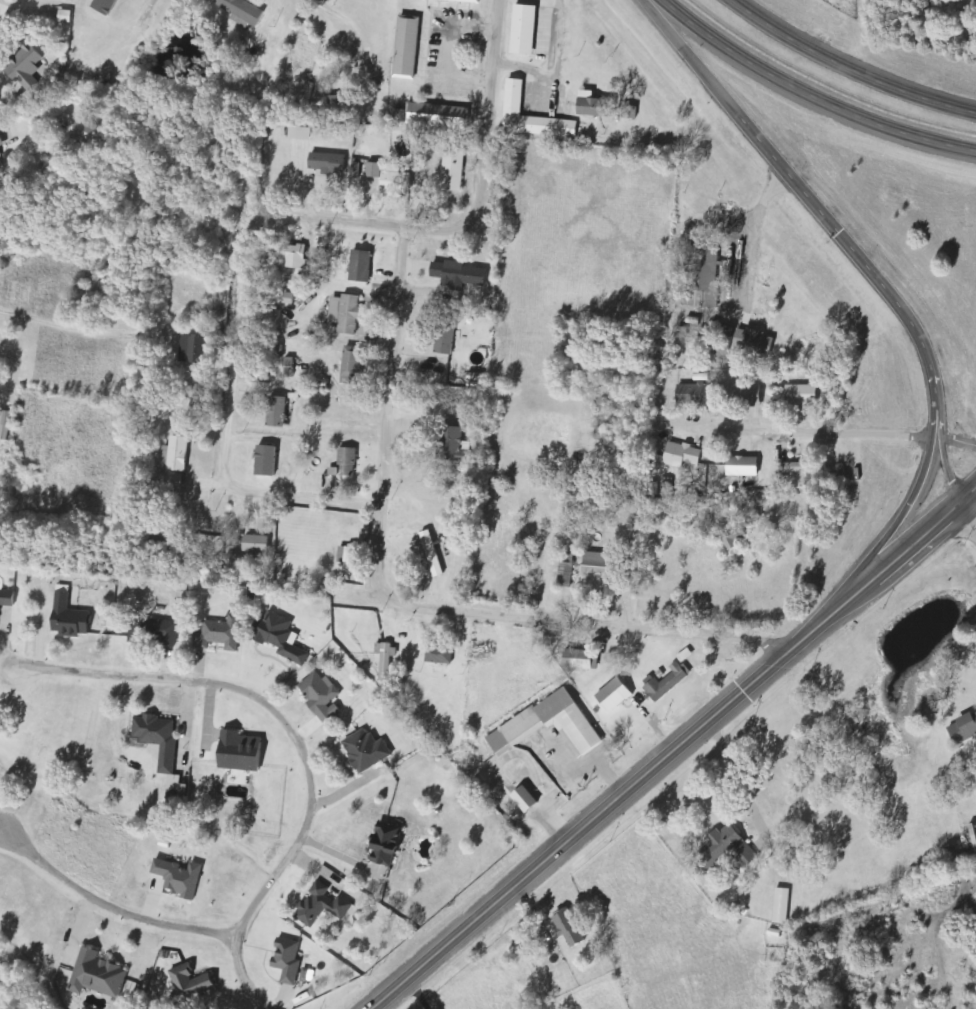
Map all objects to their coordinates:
building: (469, 1)
building: (241, 12)
building: (527, 30)
building: (408, 47)
road: (556, 63)
building: (25, 67)
road: (845, 72)
building: (516, 99)
road: (805, 101)
road: (489, 106)
building: (594, 107)
building: (629, 112)
building: (432, 116)
road: (16, 124)
building: (83, 132)
building: (299, 134)
building: (1, 143)
building: (327, 164)
building: (453, 171)
building: (388, 179)
road: (366, 225)
road: (841, 234)
building: (294, 257)
building: (360, 266)
building: (705, 273)
building: (458, 275)
building: (288, 299)
building: (347, 314)
road: (96, 332)
building: (720, 335)
building: (444, 339)
building: (752, 342)
building: (192, 350)
road: (234, 353)
building: (742, 395)
building: (800, 395)
building: (693, 396)
building: (275, 412)
building: (4, 425)
road: (816, 434)
road: (955, 443)
building: (452, 444)
building: (175, 454)
building: (681, 456)
building: (265, 461)
building: (344, 463)
building: (742, 467)
building: (802, 468)
building: (173, 481)
road: (299, 497)
road: (898, 509)
road: (970, 518)
building: (732, 536)
building: (256, 544)
building: (432, 554)
road: (904, 556)
building: (347, 557)
building: (568, 558)
building: (597, 564)
building: (566, 575)
building: (6, 598)
road: (405, 601)
building: (68, 617)
building: (159, 632)
building: (220, 634)
building: (280, 638)
building: (439, 655)
building: (580, 660)
building: (386, 662)
building: (666, 683)
building: (613, 696)
building: (320, 697)
building: (521, 728)
building: (964, 729)
road: (293, 738)
building: (161, 747)
building: (365, 751)
building: (237, 752)
building: (523, 800)
road: (600, 813)
building: (383, 844)
building: (725, 850)
building: (178, 879)
building: (321, 906)
building: (781, 907)
road: (110, 908)
building: (568, 927)
building: (286, 961)
building: (96, 975)
building: (189, 983)

